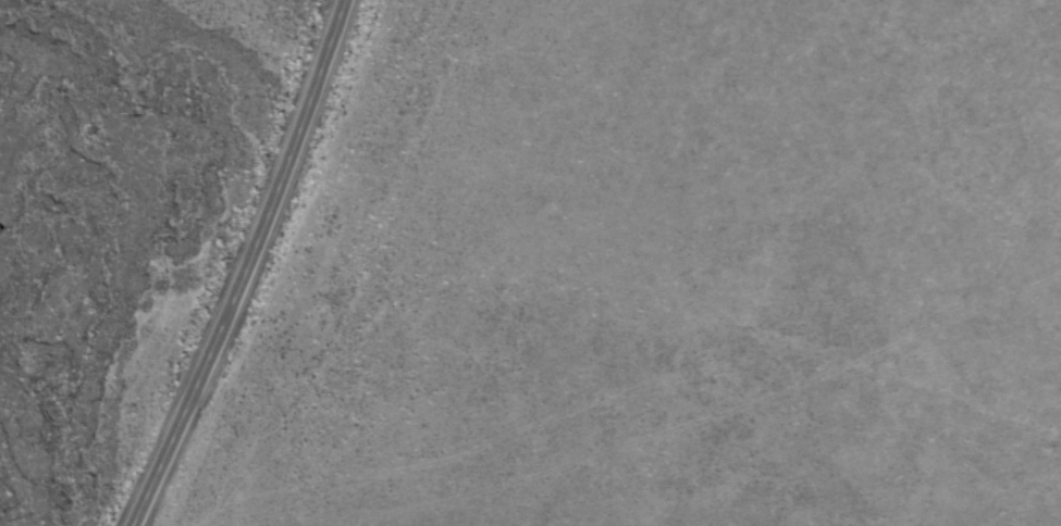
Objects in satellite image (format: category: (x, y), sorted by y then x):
road: (248, 266)

